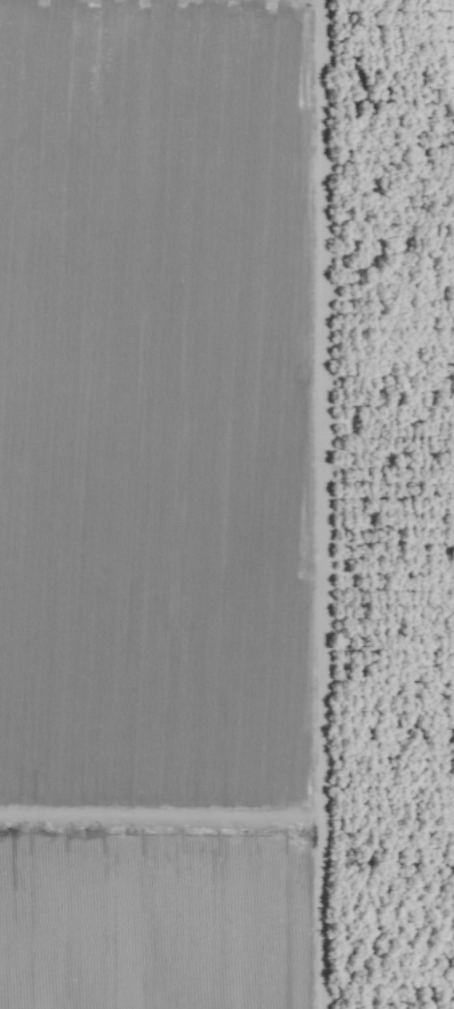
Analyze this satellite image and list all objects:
crop: (227, 504)

